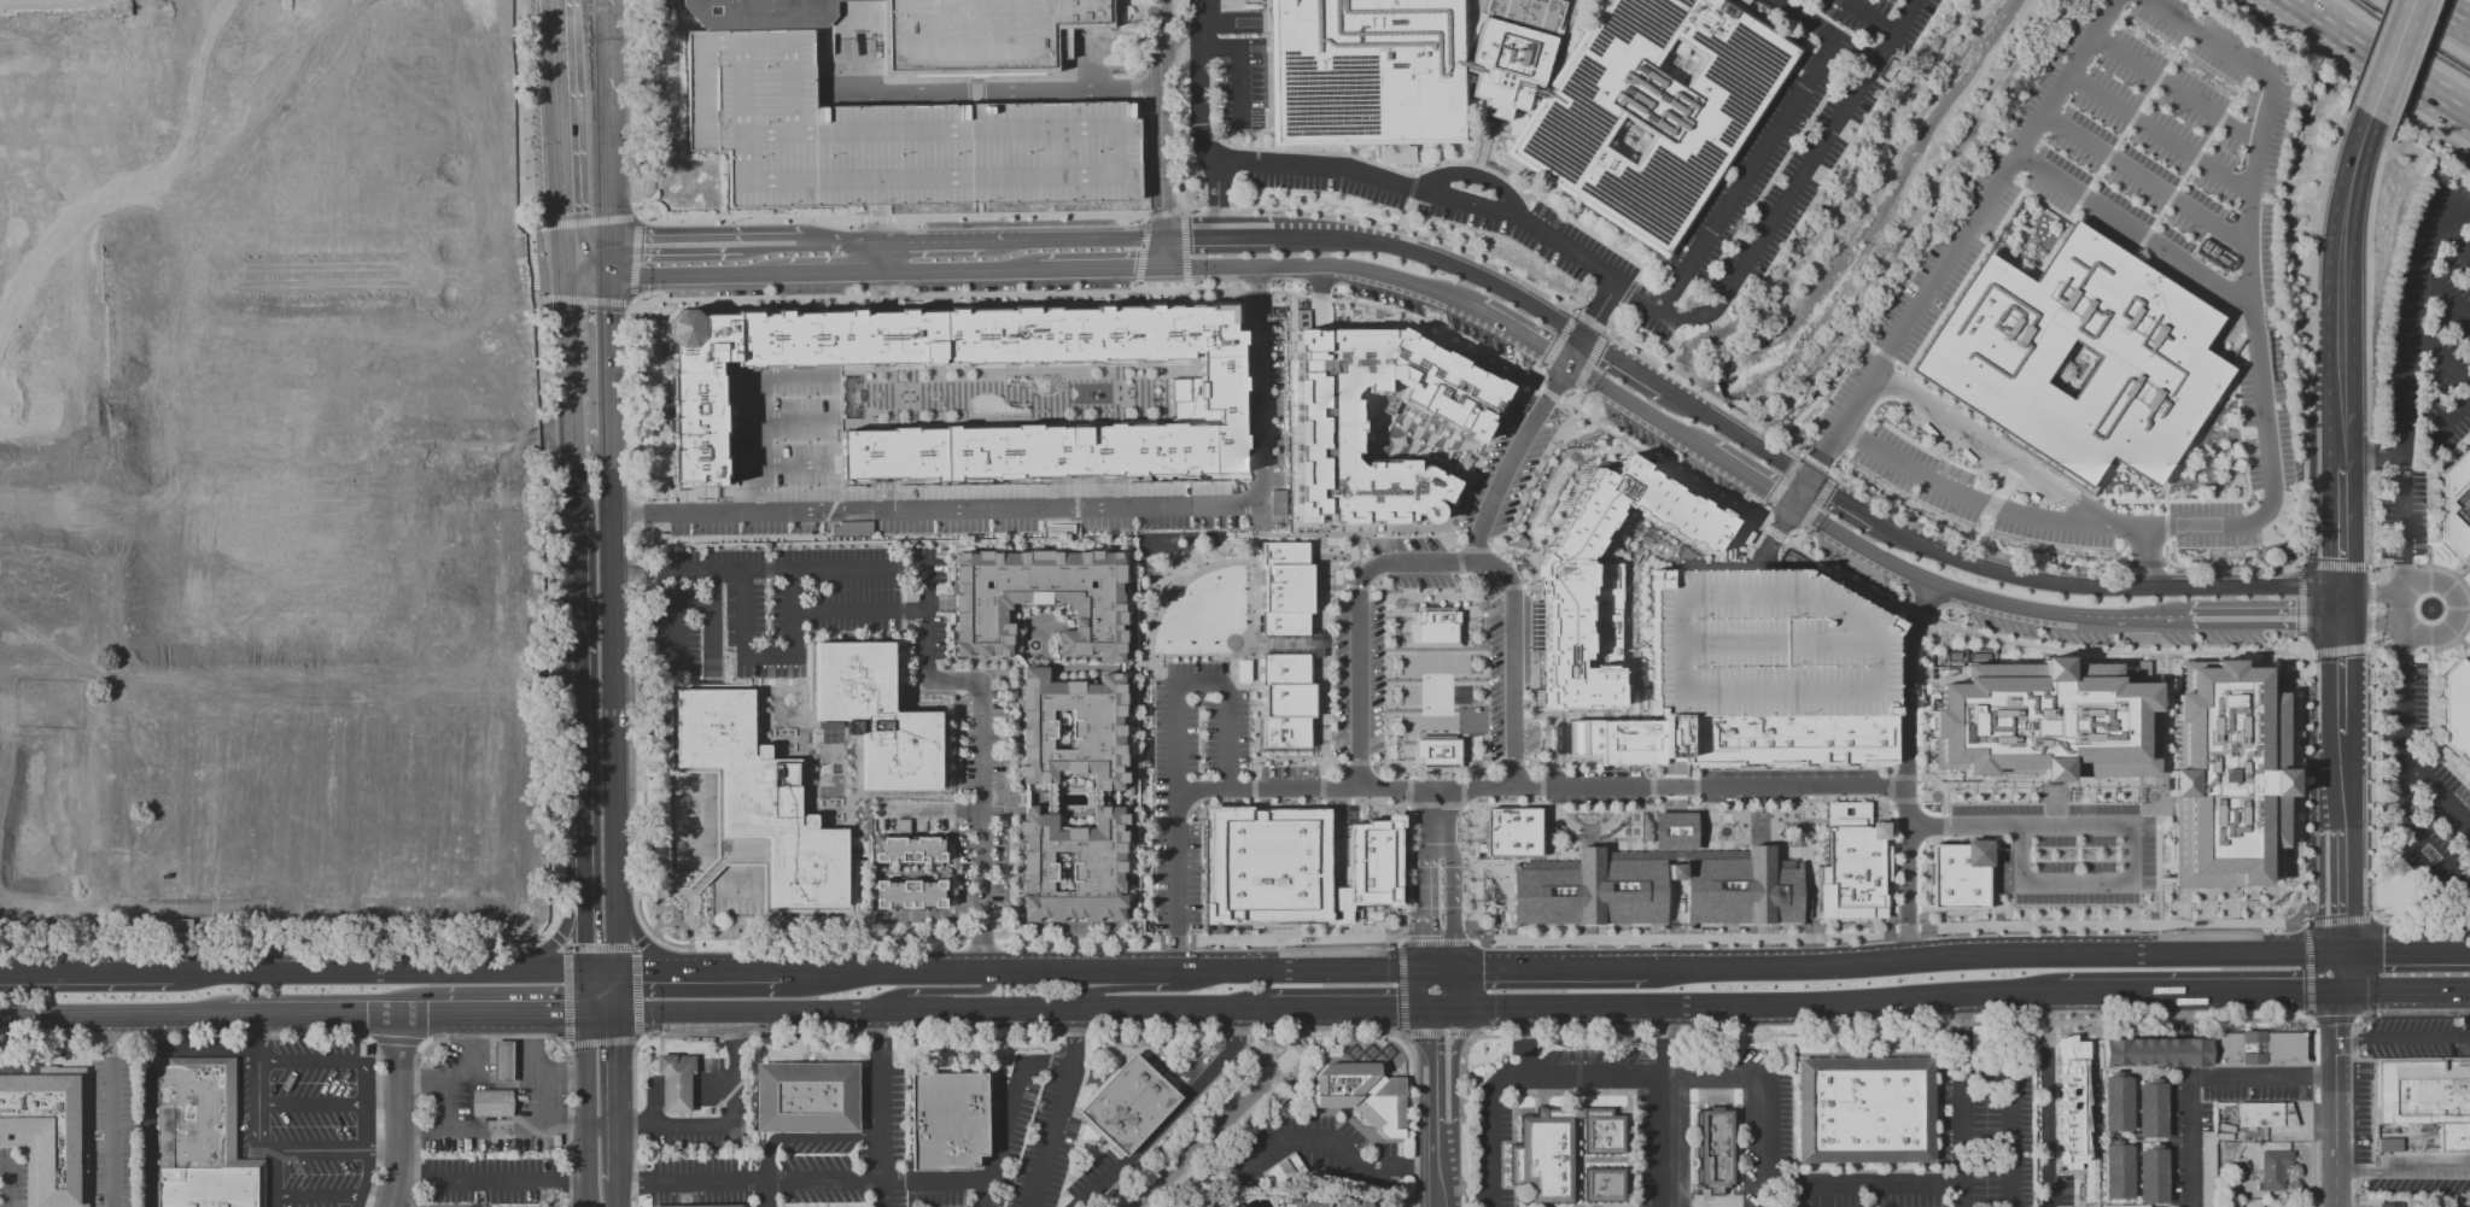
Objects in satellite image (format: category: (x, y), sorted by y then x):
road: (549, 14)
building: (784, 14)
road: (1868, 16)
road: (2445, 16)
building: (40, 27)
road: (1824, 31)
building: (983, 35)
road: (1184, 46)
road: (2369, 51)
building: (857, 52)
building: (1513, 52)
road: (2383, 55)
road: (2390, 57)
building: (877, 58)
road: (858, 63)
road: (2412, 63)
road: (1238, 66)
building: (1114, 68)
road: (1094, 72)
building: (1367, 74)
road: (1201, 83)
road: (2177, 89)
road: (987, 90)
building: (1652, 109)
road: (515, 115)
road: (2266, 116)
road: (603, 122)
road: (2129, 122)
road: (1162, 133)
road: (2160, 133)
road: (555, 136)
building: (897, 139)
parking lot: (897, 139)
parking lot: (1781, 156)
road: (2191, 163)
road: (1746, 171)
road: (2144, 180)
building: (159, 195)
road: (1216, 199)
road: (1546, 203)
road: (2459, 204)
road: (1215, 209)
road: (1191, 211)
road: (641, 213)
road: (1163, 213)
road: (647, 216)
road: (1018, 216)
road: (2113, 216)
road: (877, 219)
road: (583, 221)
road: (1969, 223)
road: (1411, 230)
road: (1218, 235)
road: (1092, 238)
traffic signals: (1164, 238)
road: (2453, 238)
parking lot: (2115, 239)
road: (1002, 240)
road: (930, 241)
road: (770, 242)
road: (841, 242)
road: (671, 244)
road: (583, 245)
traffic signals: (605, 245)
traffic signals: (561, 246)
road: (531, 247)
road: (1184, 248)
building: (2215, 254)
road: (1140, 256)
road: (880, 257)
road: (1435, 258)
road: (633, 259)
road: (531, 260)
road: (603, 260)
road: (2338, 260)
road: (562, 263)
road: (1325, 265)
road: (1100, 266)
traffic signals: (1164, 266)
road: (959, 269)
road: (829, 271)
road: (690, 274)
traffic signals: (603, 277)
road: (583, 279)
road: (533, 281)
traffic signals: (564, 281)
road: (2366, 281)
road: (1256, 288)
road: (1627, 292)
road: (2230, 292)
road: (1639, 293)
road: (1308, 295)
road: (843, 297)
road: (2446, 298)
road: (583, 299)
road: (635, 306)
road: (1400, 314)
road: (1612, 315)
road: (2252, 316)
building: (314, 318)
road: (1589, 321)
road: (1607, 329)
road: (2313, 330)
road: (1524, 335)
traffic signals: (1582, 338)
road: (1558, 340)
road: (1881, 352)
road: (1670, 353)
road: (605, 356)
road: (1589, 359)
building: (1981, 361)
road: (2442, 362)
traffic signals: (1567, 363)
road: (1254, 367)
road: (1519, 376)
road: (1640, 376)
road: (1534, 380)
road: (1531, 382)
building: (982, 391)
road: (1822, 391)
road: (2408, 392)
road: (1549, 393)
road: (1704, 393)
road: (1570, 397)
road: (568, 398)
road: (1566, 405)
road: (1637, 406)
road: (763, 408)
road: (2262, 409)
road: (1577, 412)
road: (1255, 415)
building: (1325, 416)
road: (1535, 416)
road: (799, 418)
parking lot: (1041, 420)
road: (2436, 423)
road: (1857, 432)
road: (533, 438)
road: (553, 440)
road: (2338, 444)
road: (1751, 447)
road: (1990, 449)
road: (2370, 455)
road: (1820, 456)
road: (2369, 456)
road: (1255, 462)
road: (800, 464)
road: (1816, 465)
road: (1677, 473)
road: (1748, 477)
road: (1783, 480)
traffic signals: (1805, 481)
road: (1069, 491)
road: (891, 494)
road: (1967, 496)
road: (1816, 500)
building: (1277, 502)
road: (1839, 502)
road: (1992, 502)
road: (1052, 503)
building: (2456, 503)
traffic signals: (1792, 504)
road: (2268, 506)
building: (92, 509)
road: (533, 509)
road: (640, 512)
road: (1254, 514)
road: (1762, 515)
road: (1785, 515)
road: (2213, 523)
road: (1056, 525)
building: (849, 527)
road: (2126, 527)
road: (2156, 527)
road: (2165, 527)
road: (2370, 528)
road: (2338, 533)
road: (1775, 534)
road: (1795, 535)
road: (1087, 547)
road: (1255, 549)
road: (1167, 552)
road: (2145, 557)
road: (1437, 561)
road: (576, 563)
road: (2331, 563)
road: (2056, 564)
road: (2404, 566)
road: (2377, 567)
road: (2449, 572)
road: (2464, 572)
road: (1843, 576)
building: (1602, 578)
building: (1280, 585)
road: (2101, 586)
traffic signals: (2338, 590)
road: (1168, 592)
road: (2371, 593)
road: (1980, 598)
building: (1039, 599)
road: (2300, 600)
road: (2338, 604)
fountain: (2429, 608)
road: (857, 609)
road: (2371, 610)
road: (1919, 614)
road: (675, 617)
road: (712, 617)
road: (2264, 619)
traffic signals: (2338, 619)
road: (2370, 620)
building: (1433, 623)
road: (2412, 632)
road: (925, 637)
road: (1291, 640)
road: (2370, 641)
road: (2451, 641)
road: (2464, 641)
parking lot: (1763, 646)
road: (2300, 646)
road: (2367, 648)
road: (2380, 649)
road: (2337, 650)
road: (2404, 650)
road: (2113, 651)
road: (2306, 652)
road: (766, 656)
road: (1326, 663)
road: (2338, 675)
road: (1199, 681)
parking lot: (1360, 685)
road: (545, 689)
building: (1280, 697)
road: (612, 703)
building: (2456, 709)
building: (875, 716)
building: (2045, 721)
road: (630, 728)
building: (1073, 728)
building: (1787, 738)
building: (1627, 739)
road: (579, 752)
building: (1435, 752)
road: (2401, 766)
road: (1906, 768)
parking lot: (1205, 773)
building: (2226, 775)
road: (2338, 780)
road: (1449, 790)
road: (2439, 795)
building: (34, 796)
building: (759, 803)
road: (1437, 807)
road: (929, 808)
parking lot: (980, 815)
road: (2126, 825)
building: (1510, 828)
building: (1675, 828)
parking lot: (2068, 839)
building: (909, 850)
building: (1371, 863)
building: (1853, 865)
building: (1267, 866)
building: (1957, 867)
building: (1073, 868)
building: (1740, 884)
building: (1589, 889)
road: (2337, 890)
building: (909, 893)
road: (1425, 895)
road: (1454, 895)
building: (2038, 912)
building: (2081, 912)
building: (2131, 913)
road: (549, 930)
traffic signals: (1430, 934)
road: (560, 936)
road: (556, 937)
road: (432, 938)
road: (640, 939)
road: (642, 941)
road: (565, 947)
road: (568, 948)
road: (600, 948)
road: (631, 948)
road: (633, 948)
road: (2301, 951)
traffic signals: (2336, 951)
road: (2370, 951)
road: (2436, 951)
road: (584, 954)
road: (1955, 956)
road: (1414, 968)
road: (1461, 968)
traffic signals: (1484, 968)
road: (1564, 968)
road: (696, 969)
traffic signals: (584, 971)
road: (600, 971)
traffic signals: (617, 971)
road: (1082, 971)
road: (2336, 971)
road: (376, 972)
road: (84, 973)
road: (1406, 973)
road: (1468, 973)
road: (2308, 974)
road: (1447, 975)
road: (1429, 978)
road: (1139, 986)
road: (2402, 989)
road: (2211, 990)
road: (2305, 990)
traffic signals: (2336, 990)
road: (617, 991)
road: (2103, 991)
road: (939, 992)
road: (1401, 994)
road: (636, 995)
road: (1446, 995)
road: (1472, 996)
road: (566, 997)
road: (1406, 997)
road: (1426, 997)
road: (1792, 1002)
road: (1330, 1006)
road: (1507, 1006)
traffic signals: (1394, 1007)
road: (1414, 1007)
road: (1464, 1007)
road: (942, 1009)
road: (601, 1012)
traffic signals: (618, 1012)
road: (314, 1013)
road: (422, 1013)
road: (514, 1013)
traffic signals: (584, 1013)
road: (113, 1014)
road: (2336, 1014)
parking lot: (2418, 1033)
road: (2404, 1037)
road: (1524, 1038)
road: (1458, 1039)
road: (602, 1041)
road: (640, 1041)
traffic signals: (1436, 1042)
road: (565, 1045)
road: (1436, 1045)
building: (2256, 1047)
road: (203, 1051)
building: (2157, 1051)
road: (2401, 1057)
road: (334, 1061)
building: (503, 1061)
gas station: (503, 1061)
road: (618, 1070)
road: (461, 1072)
road: (533, 1072)
road: (1706, 1077)
road: (2011, 1078)
road: (2201, 1078)
building: (676, 1080)
road: (677, 1089)
road: (712, 1090)
building: (1364, 1095)
building: (2428, 1096)
building: (806, 1097)
road: (1014, 1098)
road: (2045, 1098)
building: (2071, 1098)
building: (492, 1103)
road: (652, 1103)
road: (1438, 1103)
building: (2116, 1103)
road: (313, 1105)
building: (1128, 1106)
road: (1665, 1106)
road: (1059, 1107)
road: (452, 1108)
road: (882, 1108)
road: (585, 1109)
building: (2151, 1109)
road: (109, 1111)
road: (148, 1111)
road: (401, 1111)
building: (1864, 1111)
building: (2262, 1112)
road: (258, 1115)
road: (2376, 1115)
road: (1169, 1117)
parking lot: (305, 1119)
building: (947, 1120)
road: (633, 1123)
road: (2336, 1123)
road: (566, 1126)
road: (734, 1126)
building: (48, 1130)
road: (1491, 1130)
building: (1601, 1130)
road: (510, 1131)
parking lot: (113, 1132)
road: (2402, 1133)
road: (1438, 1136)
road: (1963, 1136)
building: (200, 1137)
road: (806, 1137)
building: (746, 1141)
building: (2389, 1143)
road: (337, 1150)
building: (1716, 1150)
road: (1342, 1152)
road: (618, 1155)
road: (368, 1156)
building: (1545, 1156)
building: (1285, 1168)
building: (2207, 1168)
building: (2273, 1168)
building: (2118, 1170)
road: (2402, 1172)
building: (2151, 1174)
parking lot: (11, 1177)
road: (576, 1177)
road: (1438, 1178)
road: (494, 1179)
road: (802, 1179)
road: (411, 1180)
road: (1863, 1180)
building: (1604, 1184)
building: (2226, 1184)
road: (6, 1187)
road: (985, 1193)
road: (764, 1194)
road: (617, 1195)
road: (317, 1196)
building: (1354, 1202)
building: (2230, 1203)
road: (396, 1205)
building: (1202, 1205)
building: (1310, 1205)
building: (1703, 1205)
building: (1732, 1205)
building: (2389, 1205)
building: (700, 1206)
building: (1232, 1206)
building: (1239, 1206)
building: (2124, 1206)

